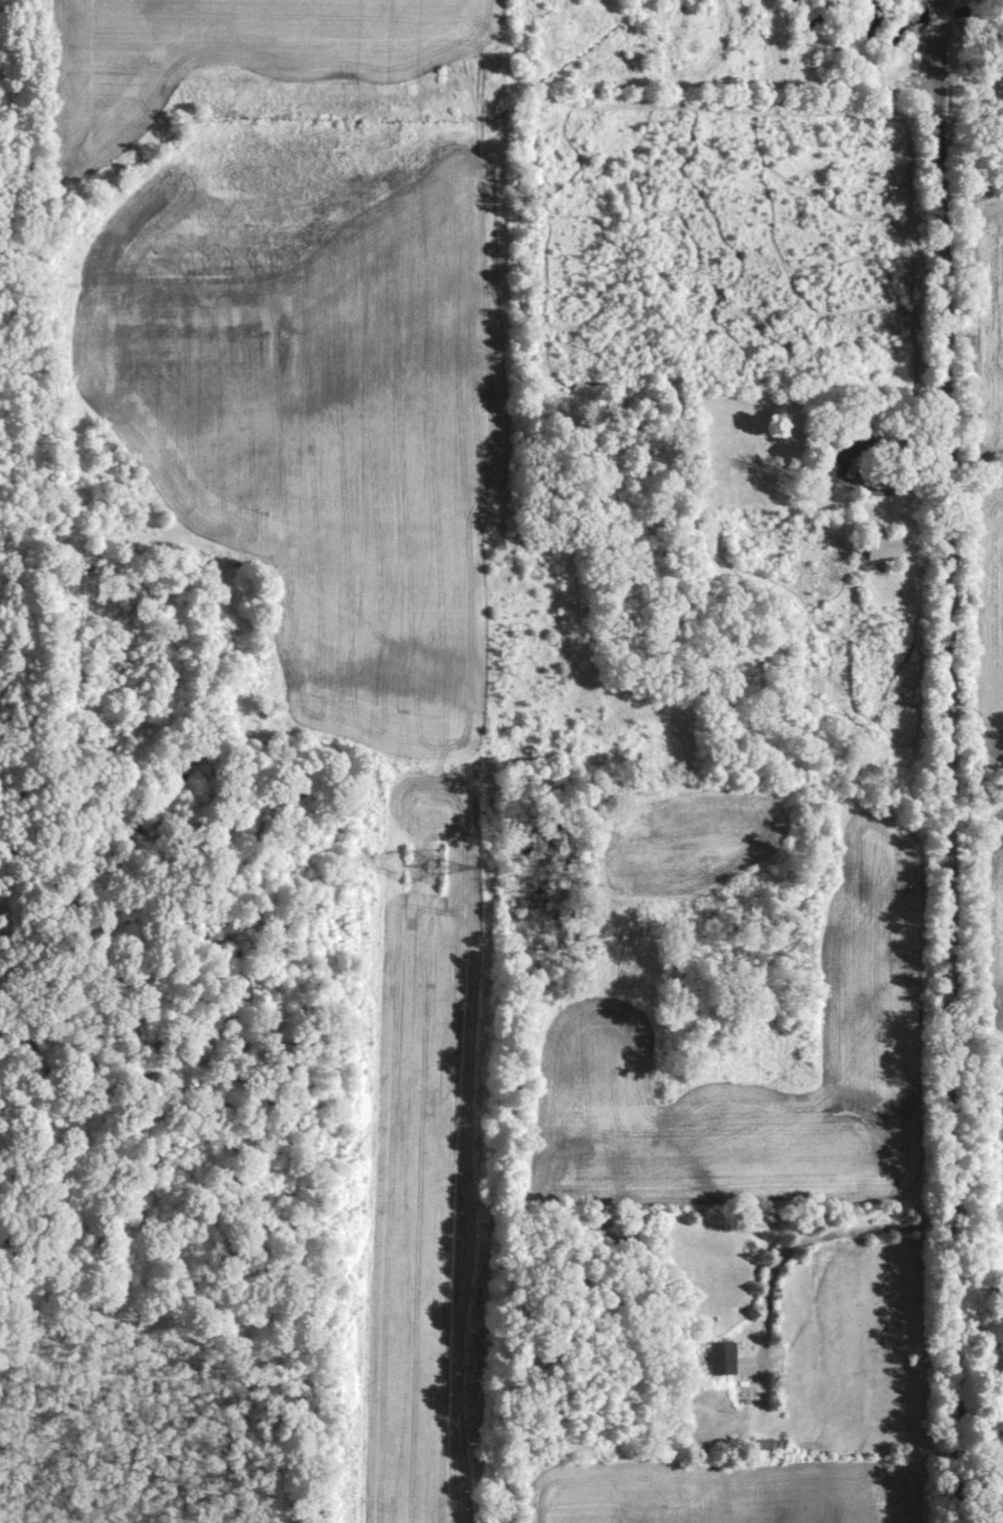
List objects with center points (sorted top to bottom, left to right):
building: (834, 459)
building: (883, 545)
road: (954, 761)
power tower: (423, 866)
road: (819, 1235)
building: (721, 1356)

